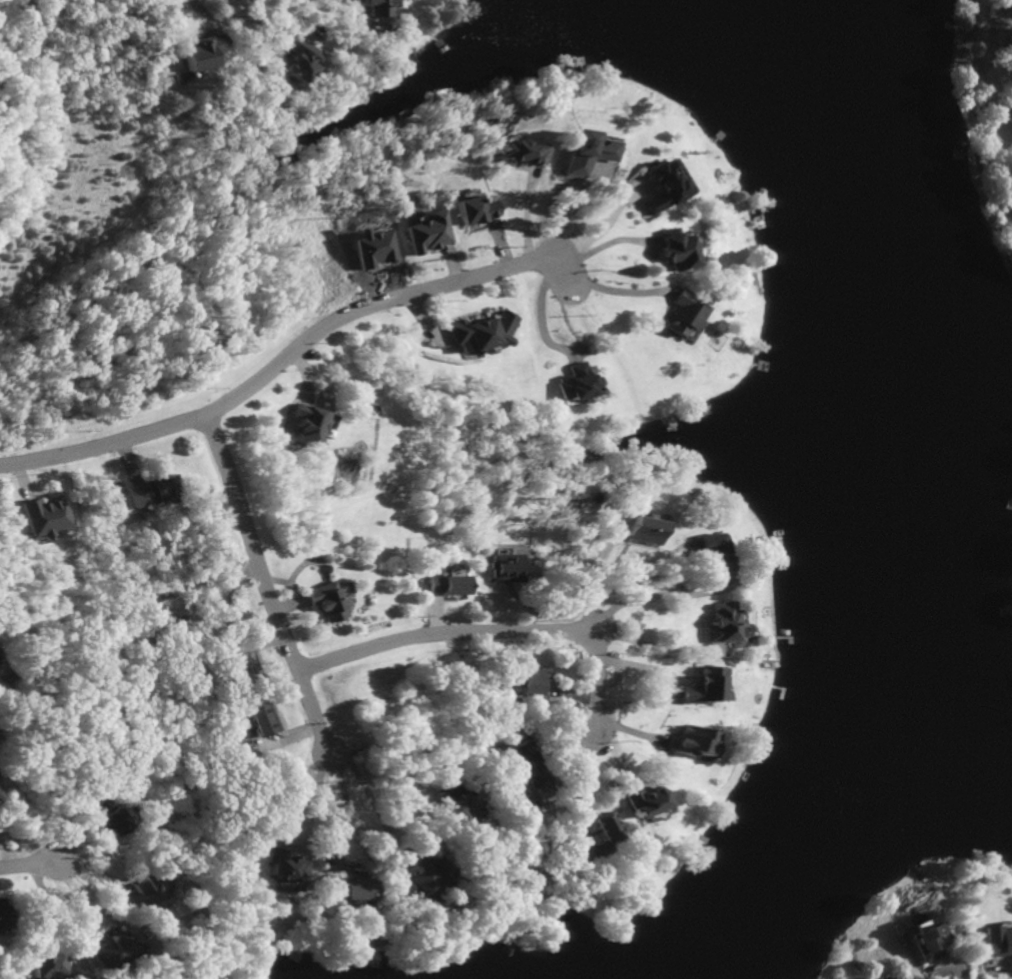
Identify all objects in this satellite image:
road: (321, 1)
building: (373, 8)
building: (191, 54)
building: (1011, 59)
building: (295, 61)
building: (1011, 104)
building: (518, 153)
building: (576, 153)
building: (651, 185)
building: (473, 210)
road: (594, 224)
building: (424, 234)
building: (678, 240)
building: (659, 250)
road: (591, 287)
road: (532, 309)
building: (474, 333)
road: (275, 365)
building: (569, 384)
building: (298, 426)
building: (135, 494)
building: (34, 517)
building: (637, 530)
building: (704, 559)
building: (500, 567)
road: (259, 583)
road: (594, 583)
building: (441, 584)
building: (324, 603)
road: (635, 605)
building: (710, 623)
road: (489, 634)
road: (644, 647)
building: (232, 662)
building: (522, 683)
building: (692, 688)
building: (256, 719)
building: (683, 741)
road: (383, 753)
building: (524, 765)
road: (580, 779)
road: (308, 799)
building: (641, 801)
road: (368, 804)
road: (341, 807)
building: (452, 808)
building: (99, 816)
building: (584, 849)
road: (24, 868)
building: (279, 869)
building: (419, 878)
building: (346, 887)
building: (145, 890)
road: (50, 916)
building: (990, 941)
building: (924, 942)
building: (108, 946)
building: (41, 963)
road: (946, 972)
building: (888, 977)
building: (875, 978)

